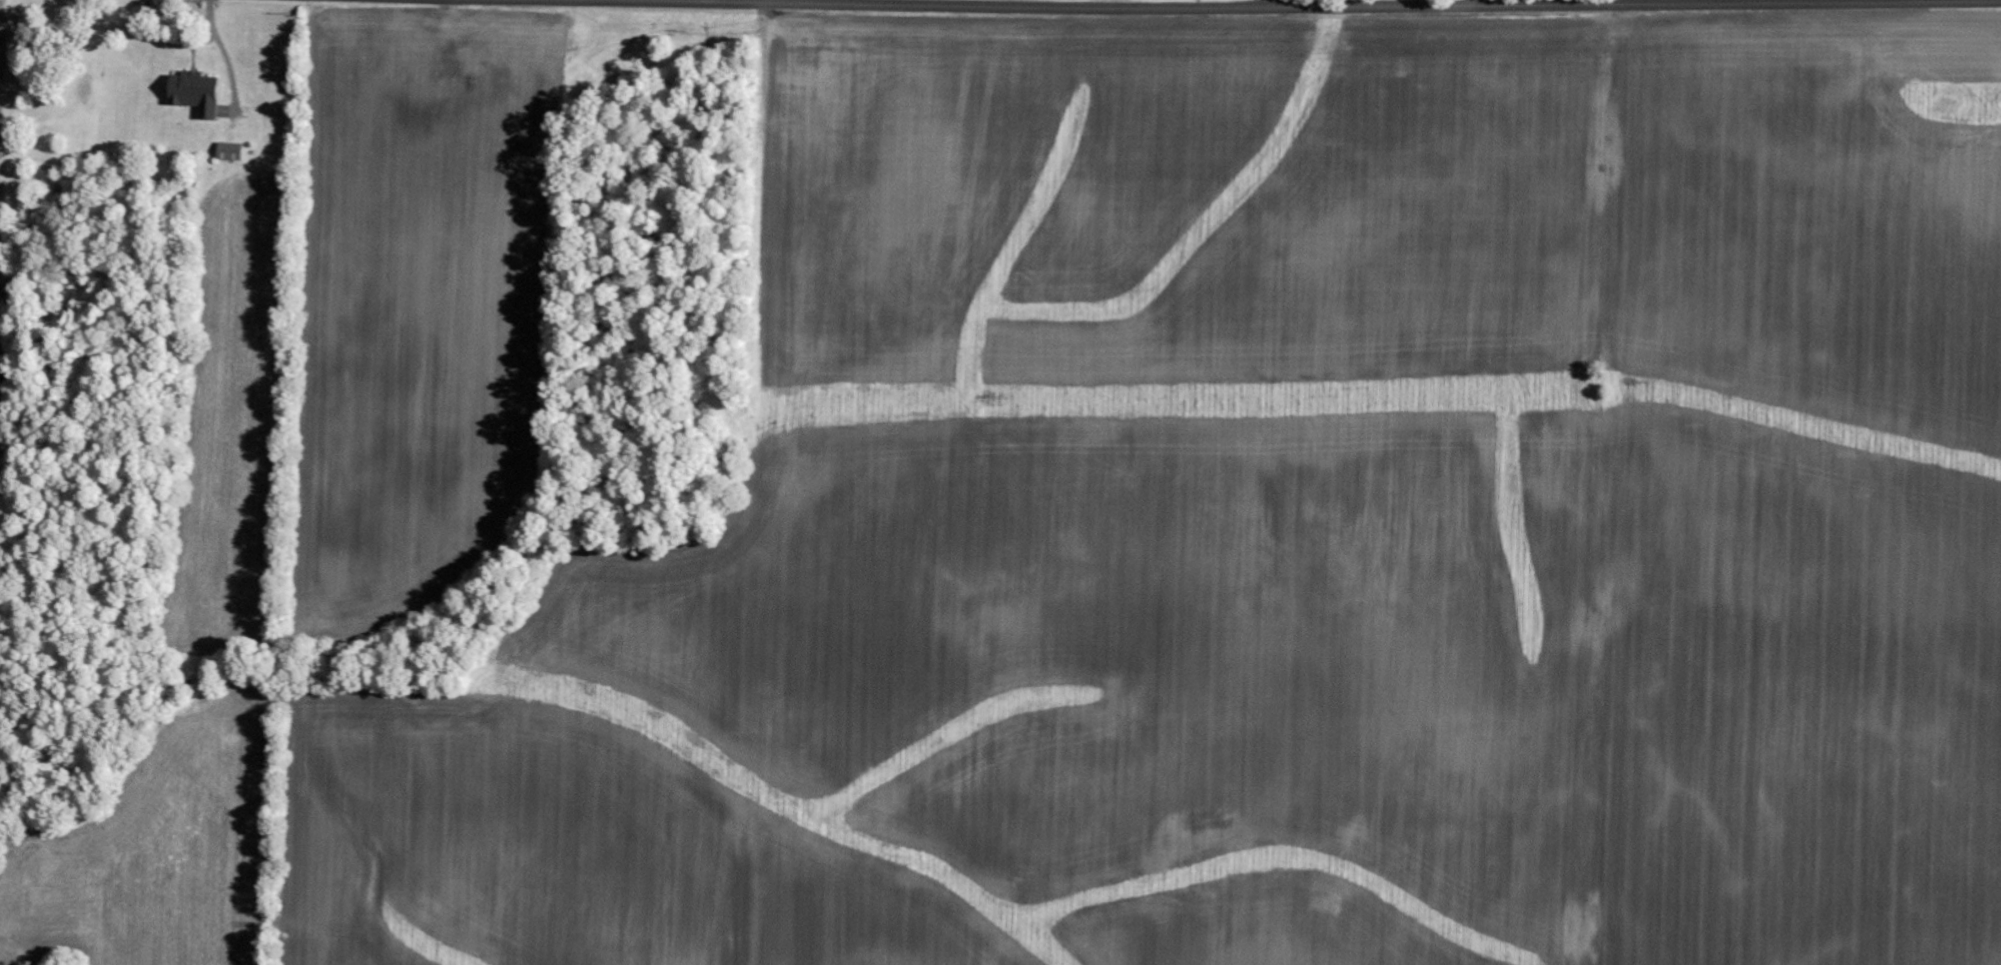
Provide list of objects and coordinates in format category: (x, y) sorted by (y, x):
road: (1282, 8)
building: (195, 92)
building: (231, 152)

